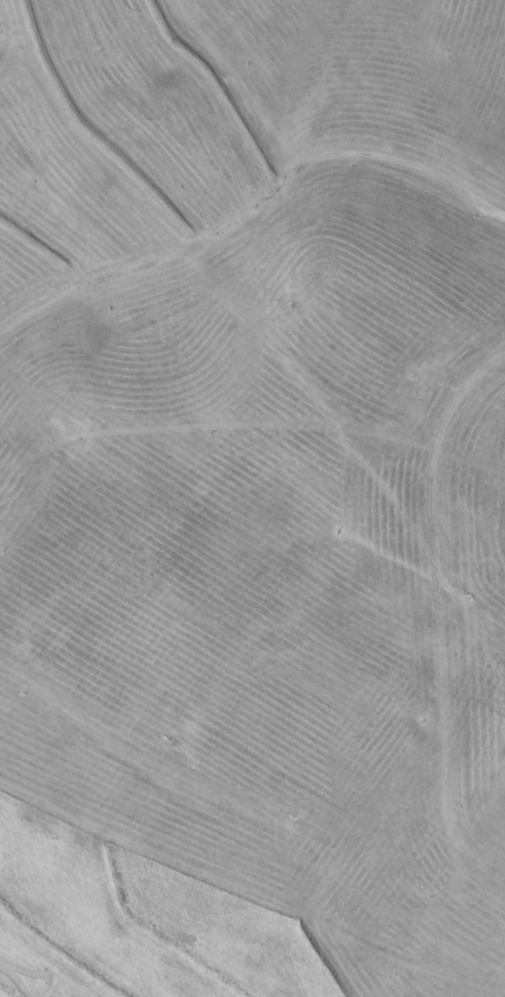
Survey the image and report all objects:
landfill: (252, 498)

